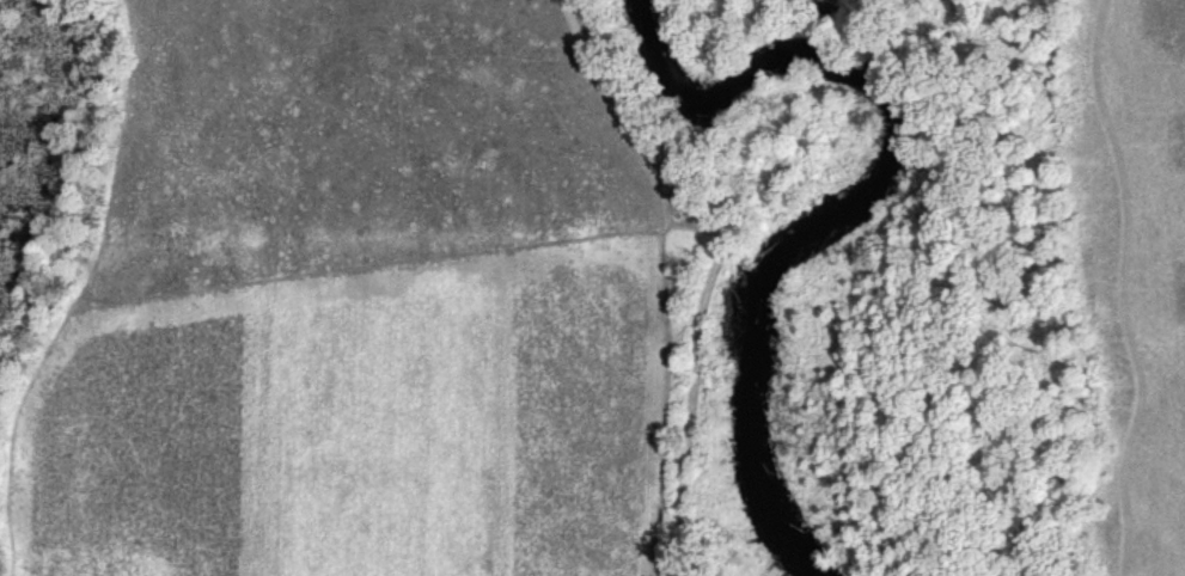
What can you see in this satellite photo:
river: (867, 189)

